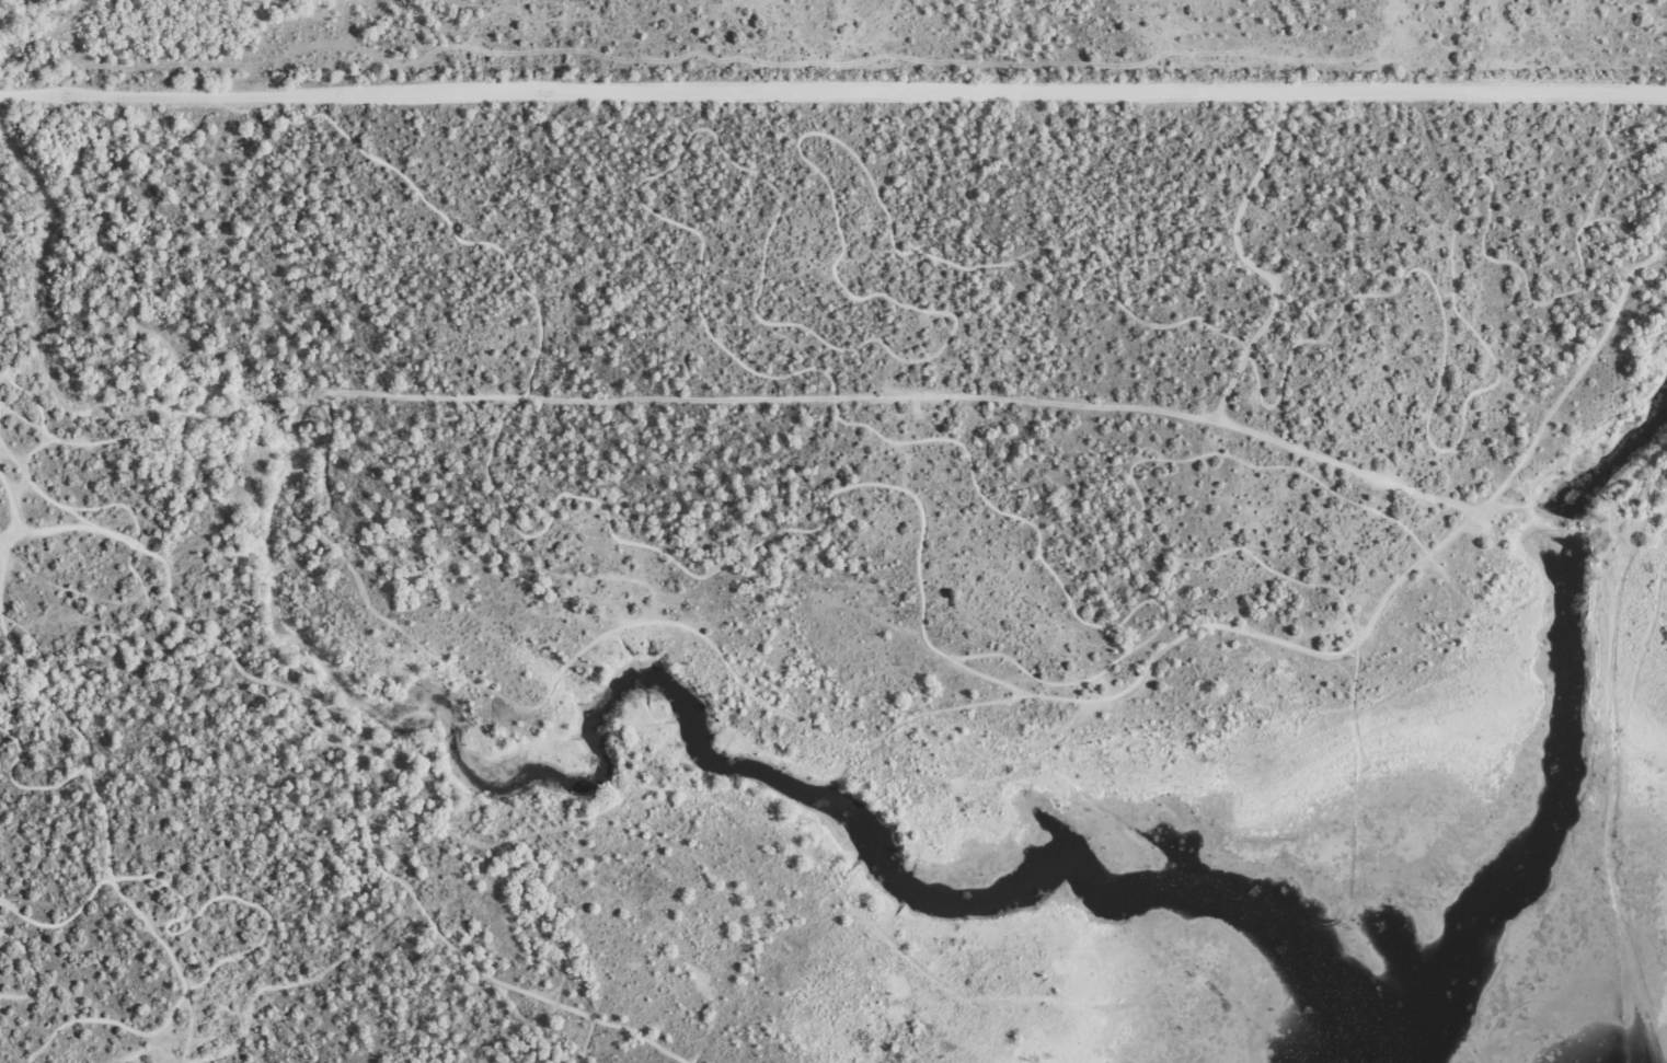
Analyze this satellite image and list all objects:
road: (833, 90)

